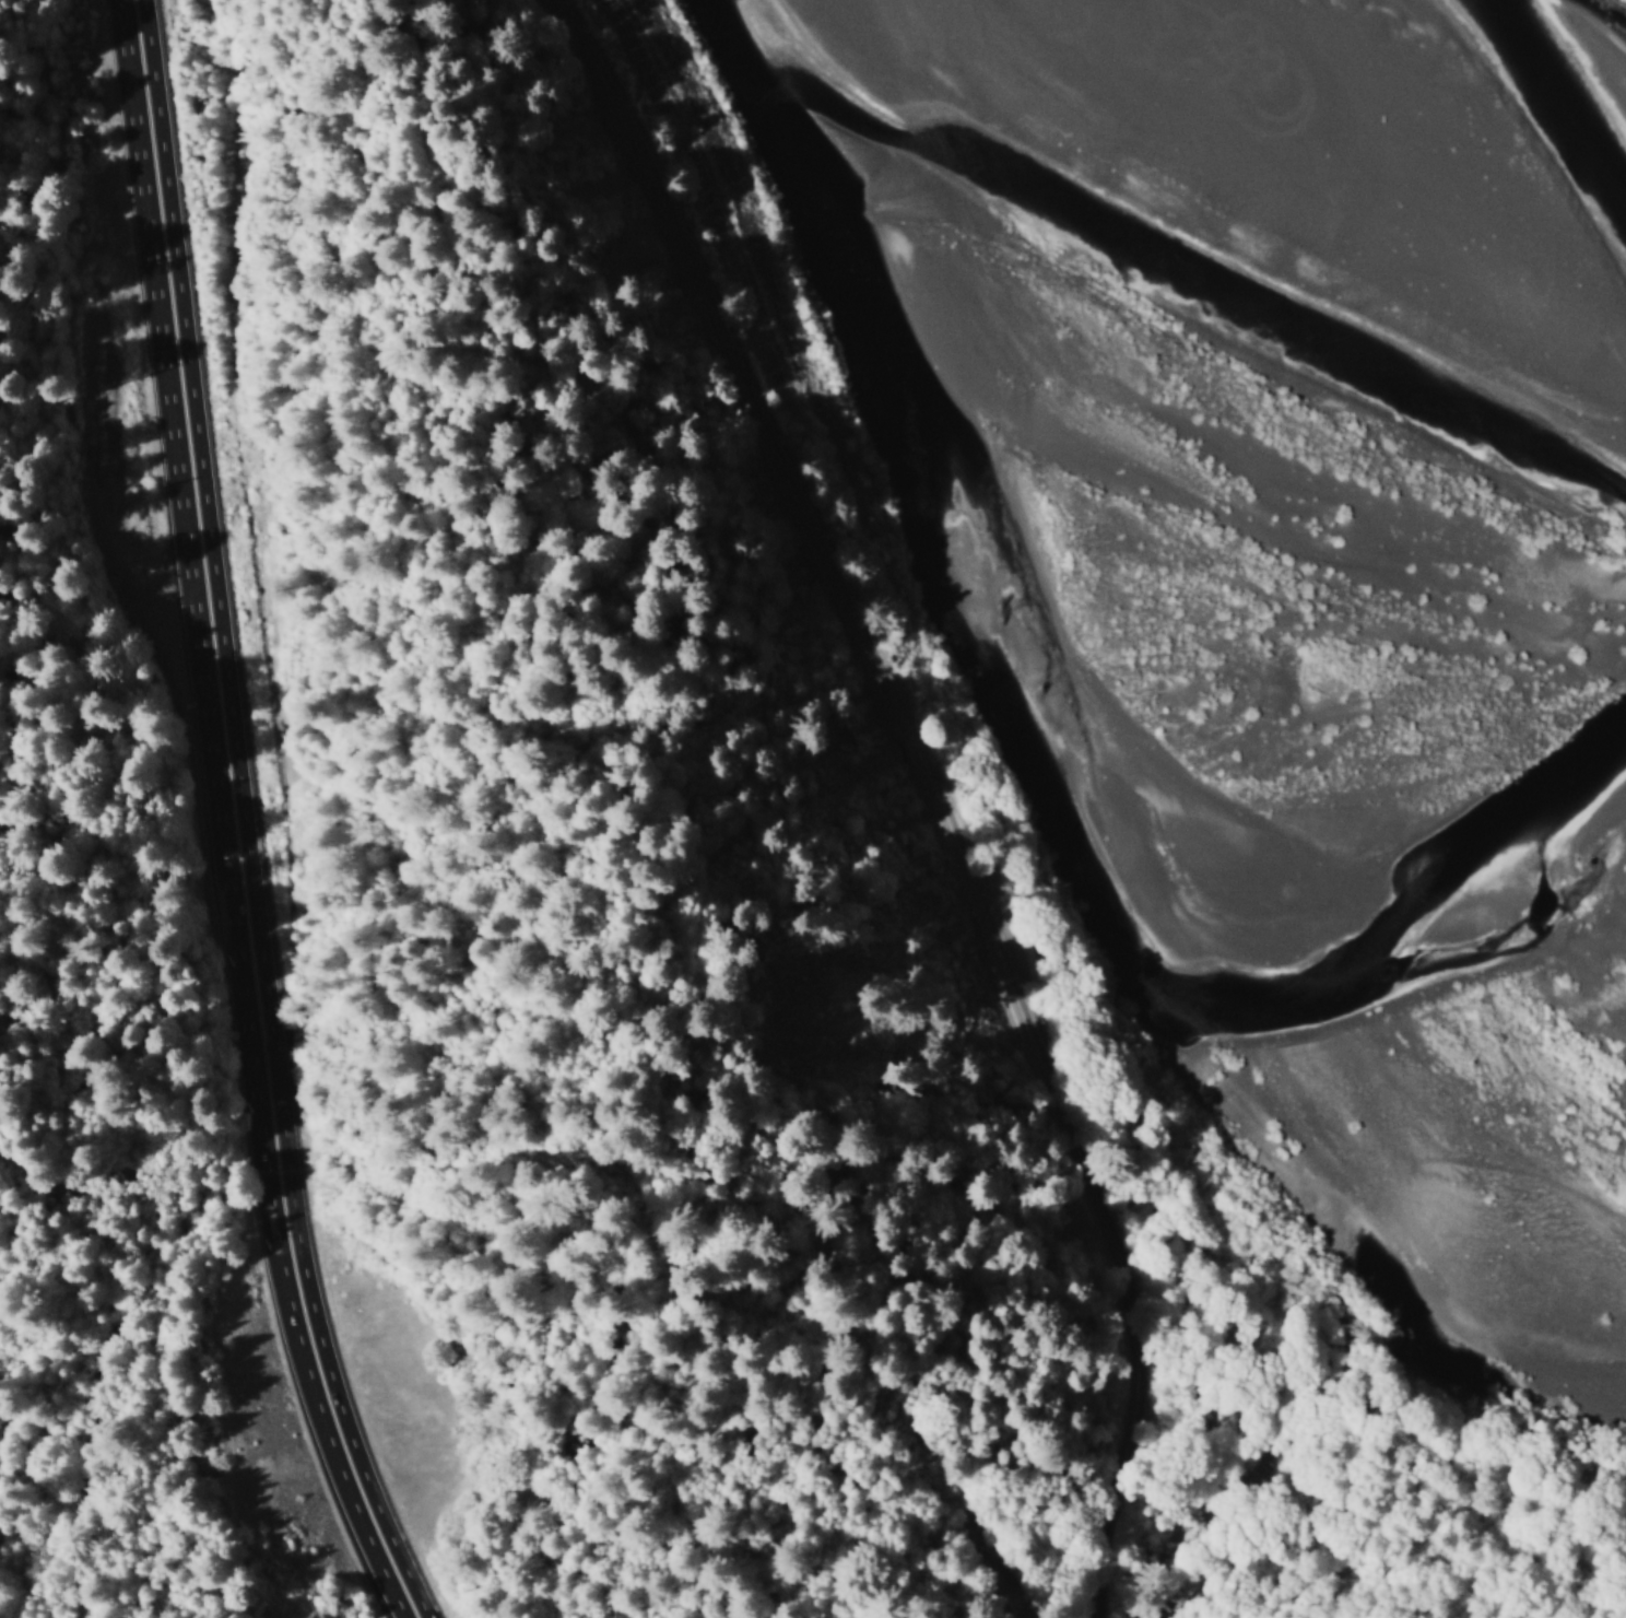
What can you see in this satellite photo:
river: (924, 380)
road: (208, 620)
road: (922, 783)
park: (66, 837)
river: (1340, 861)
road: (330, 1434)

